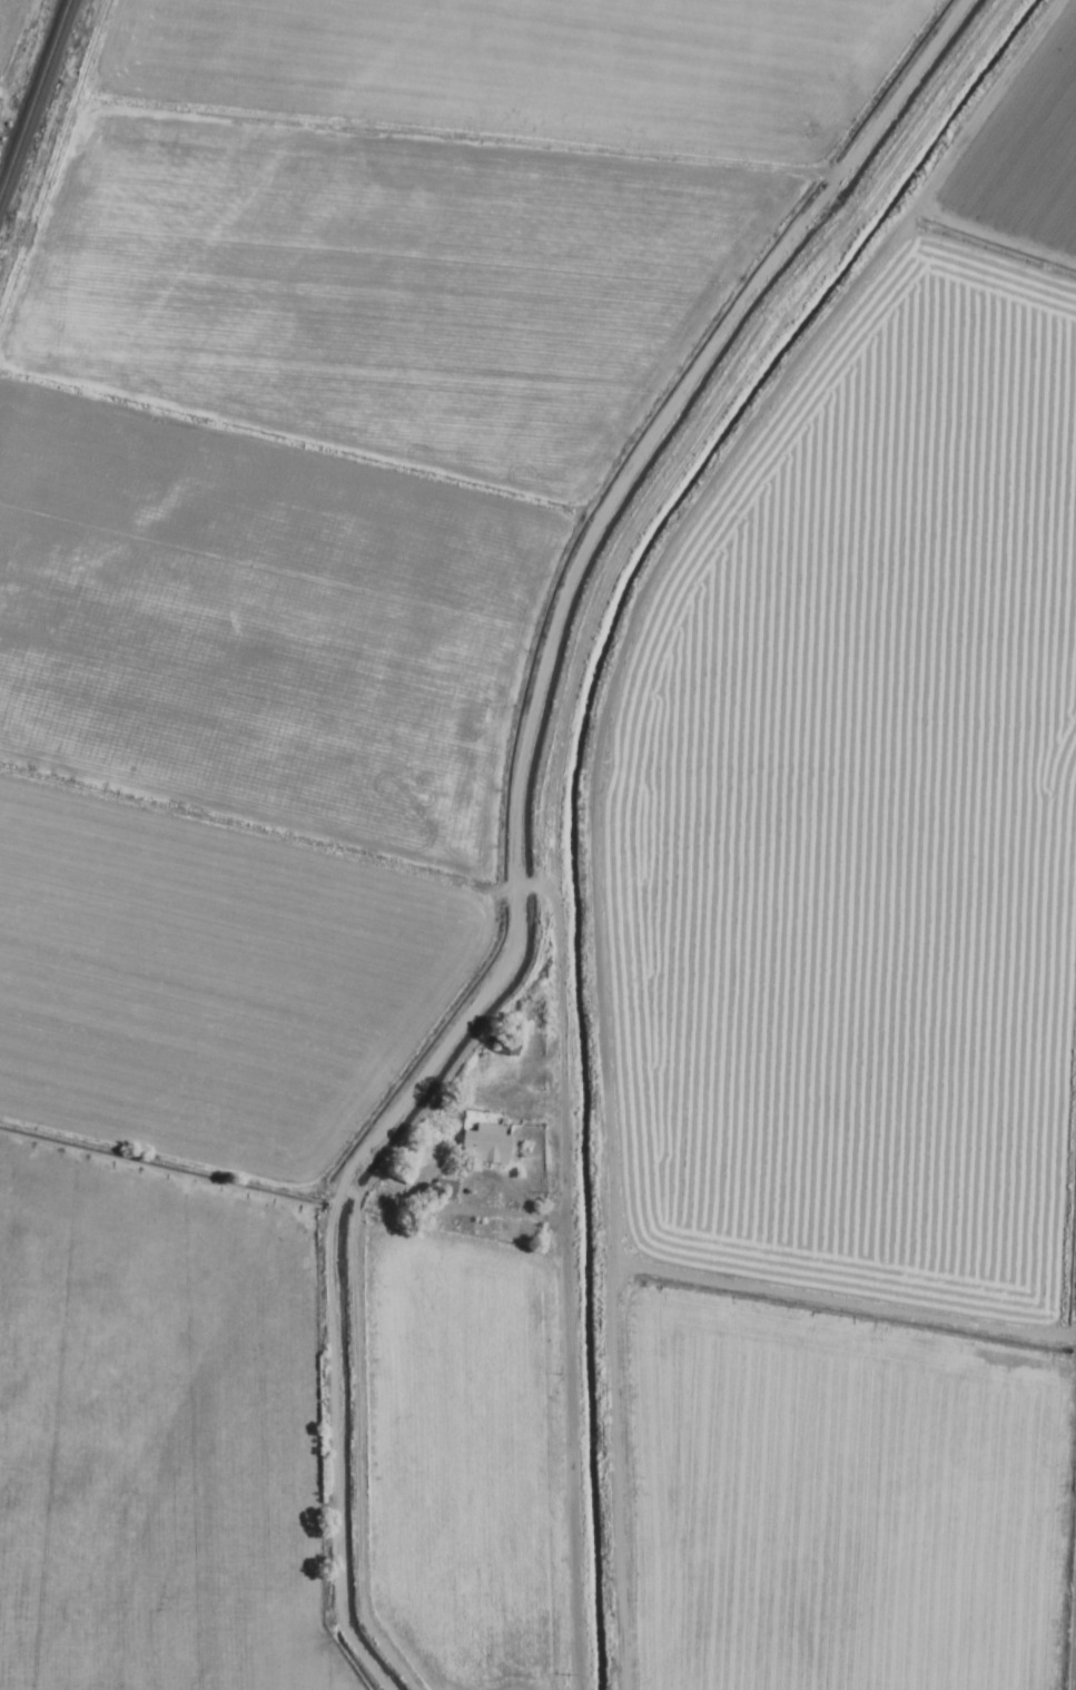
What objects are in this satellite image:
railway: (33, 94)
building: (502, 1044)
building: (481, 1146)
building: (403, 1167)
building: (440, 1190)
road: (536, 1224)
road: (555, 1274)
road: (1065, 1495)

